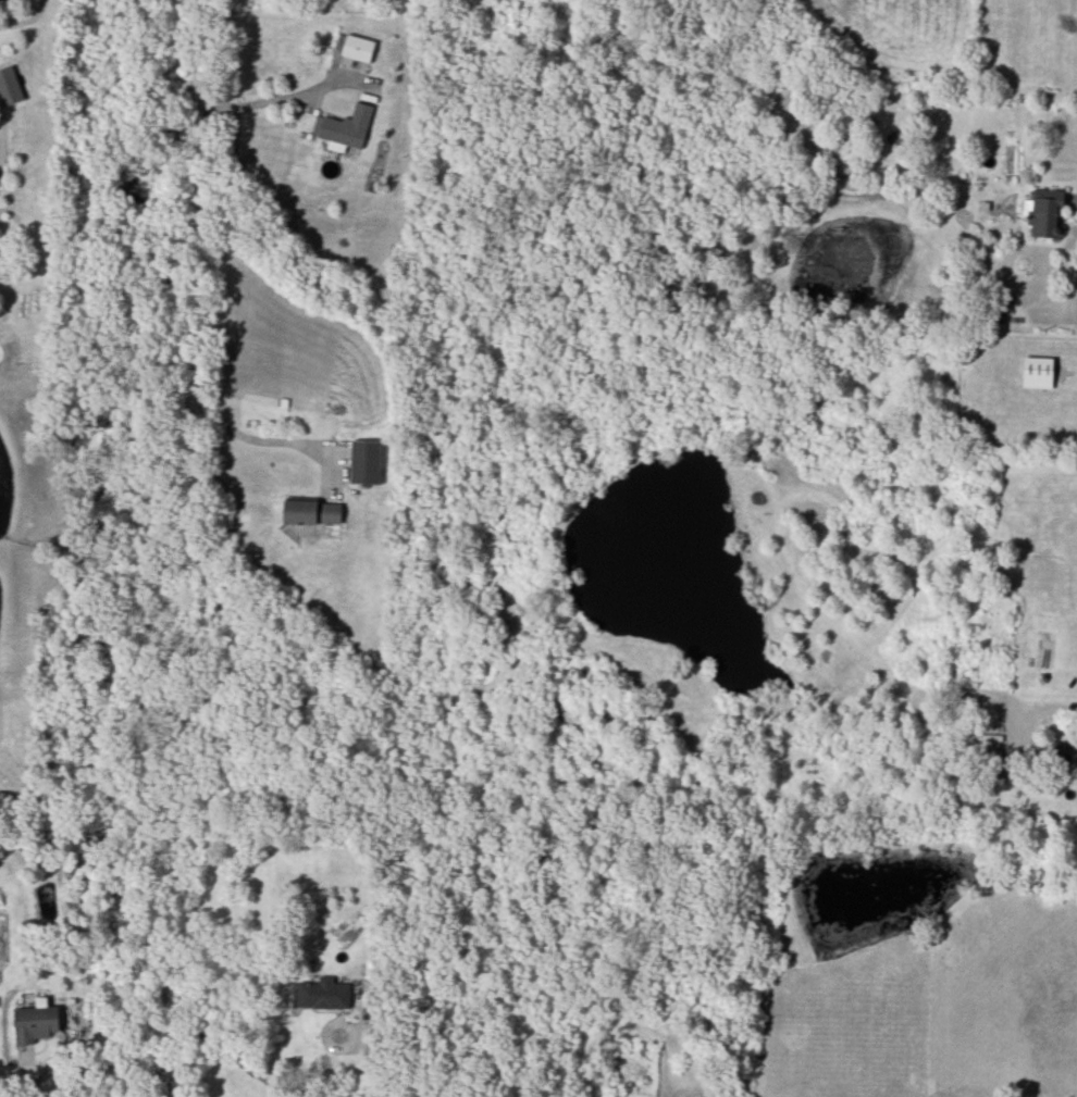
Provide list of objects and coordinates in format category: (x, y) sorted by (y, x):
building: (0, 0)
building: (358, 48)
building: (10, 86)
road: (283, 98)
building: (344, 128)
building: (1045, 216)
road: (207, 254)
building: (1038, 372)
building: (367, 462)
building: (313, 512)
building: (1064, 753)
building: (323, 994)
building: (35, 1022)
road: (364, 1056)
road: (33, 1083)

